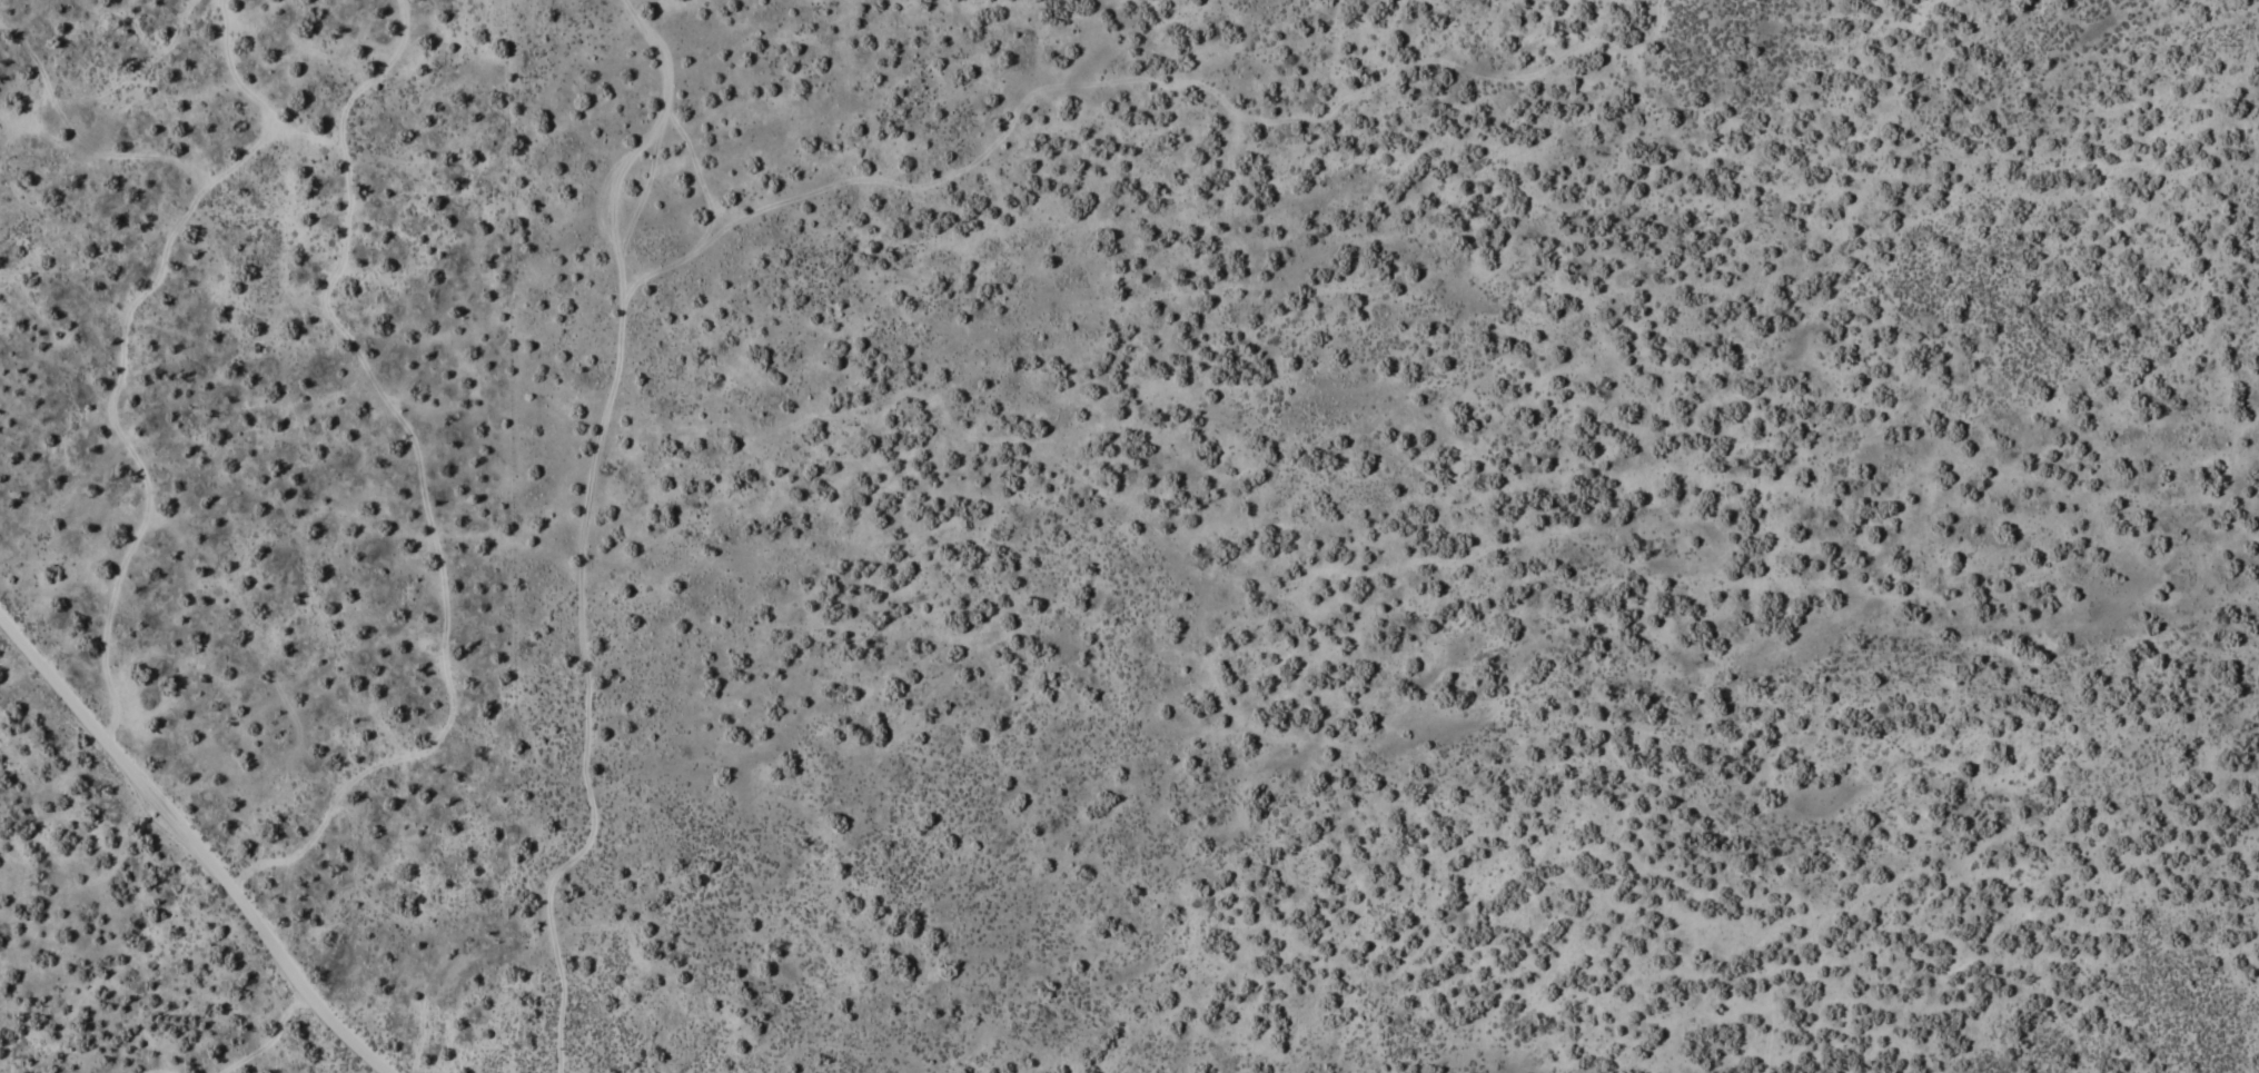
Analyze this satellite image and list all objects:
road: (75, 712)
road: (266, 940)

